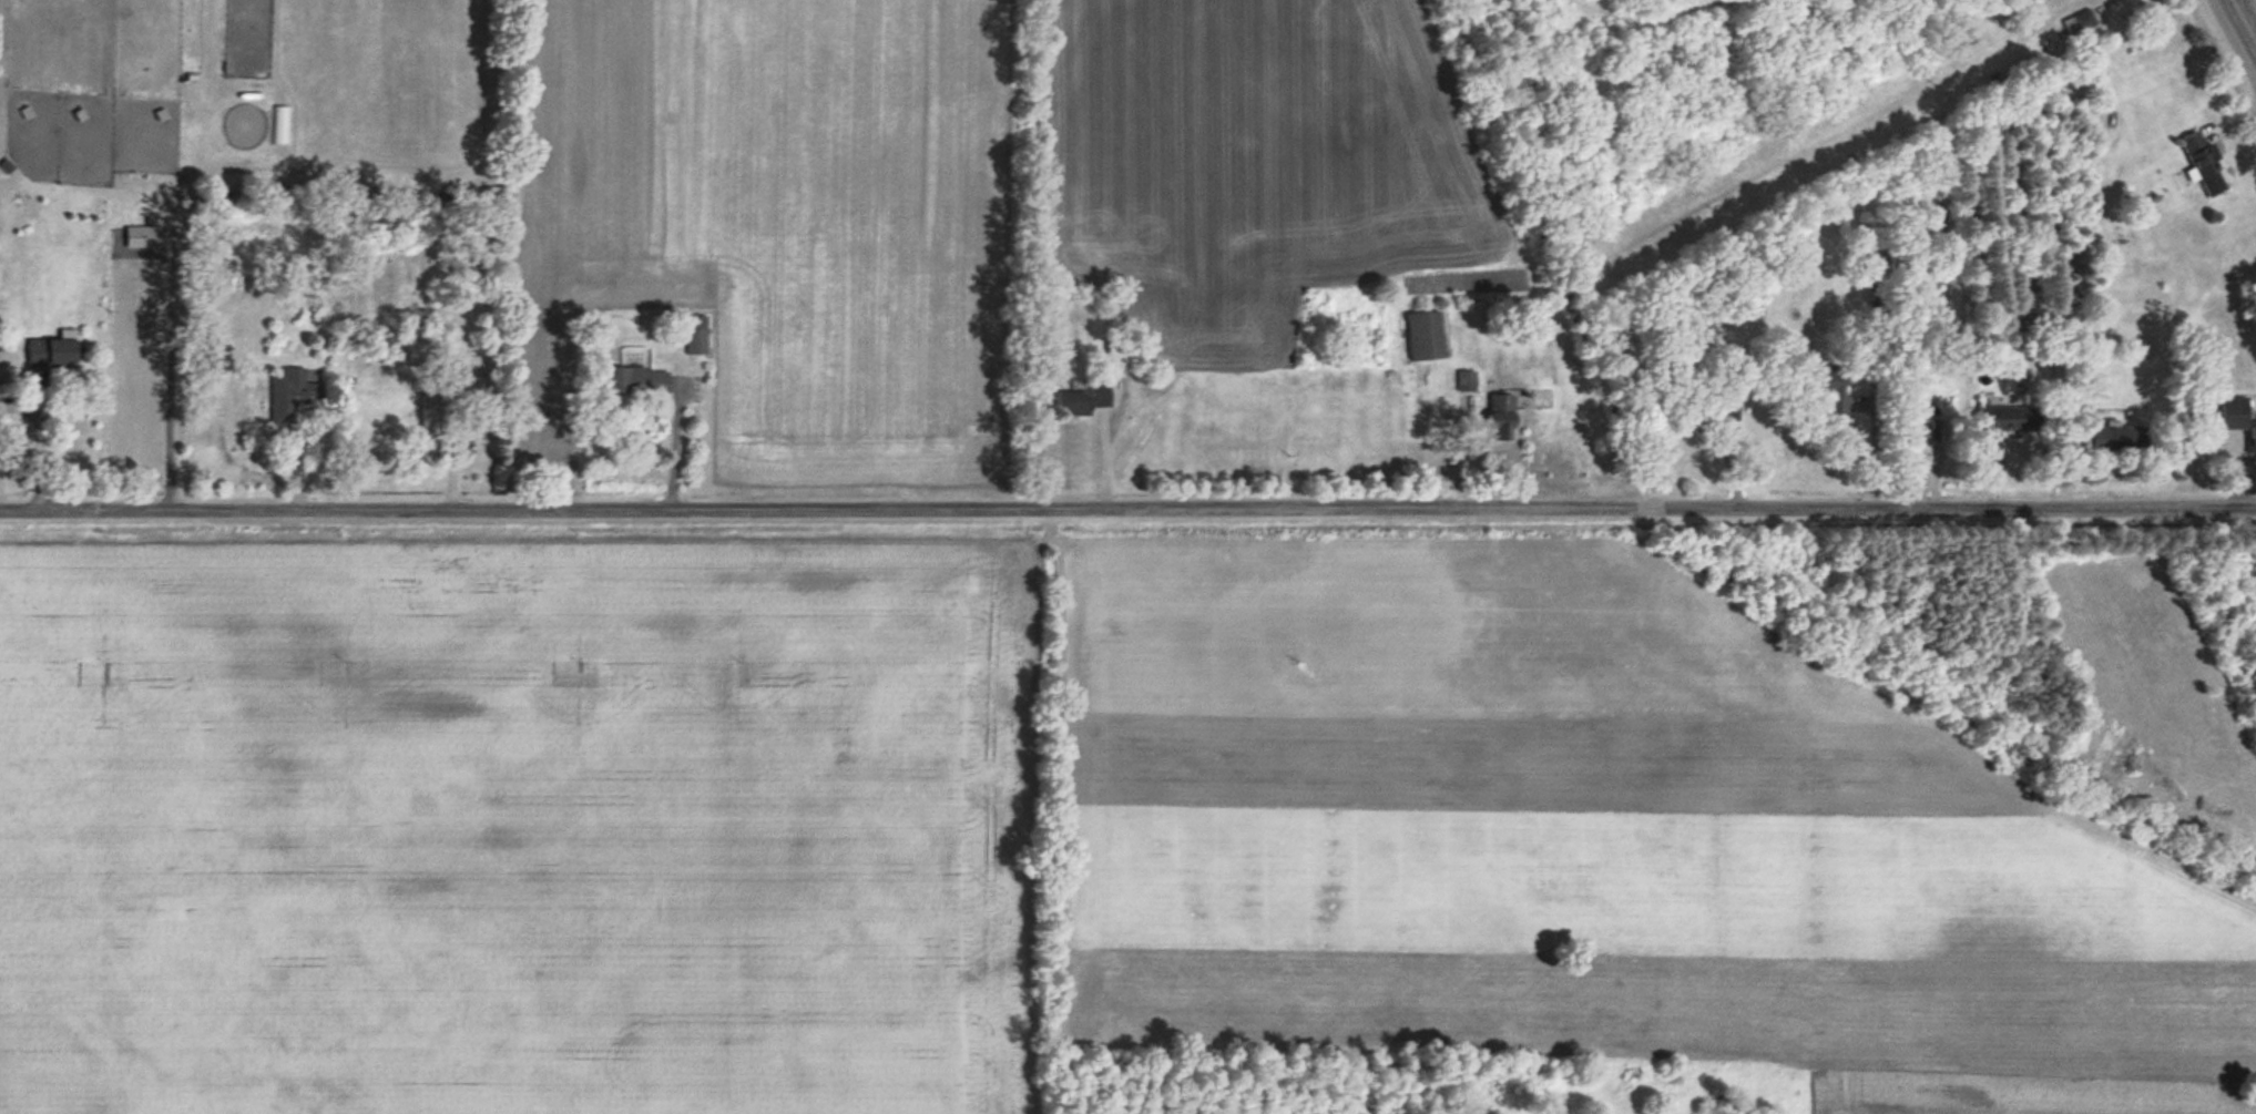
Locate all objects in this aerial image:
building: (2083, 21)
road: (2242, 23)
building: (279, 125)
building: (2198, 155)
building: (150, 236)
building: (696, 336)
building: (1423, 337)
building: (52, 352)
building: (1119, 356)
building: (636, 381)
building: (1464, 381)
building: (1826, 386)
building: (293, 396)
building: (1080, 401)
building: (1724, 412)
building: (2234, 413)
building: (430, 416)
building: (1500, 418)
building: (2007, 420)
building: (1910, 426)
road: (1456, 433)
building: (2112, 440)
building: (2254, 440)
road: (1872, 447)
road: (673, 448)
road: (39, 449)
road: (1127, 509)

